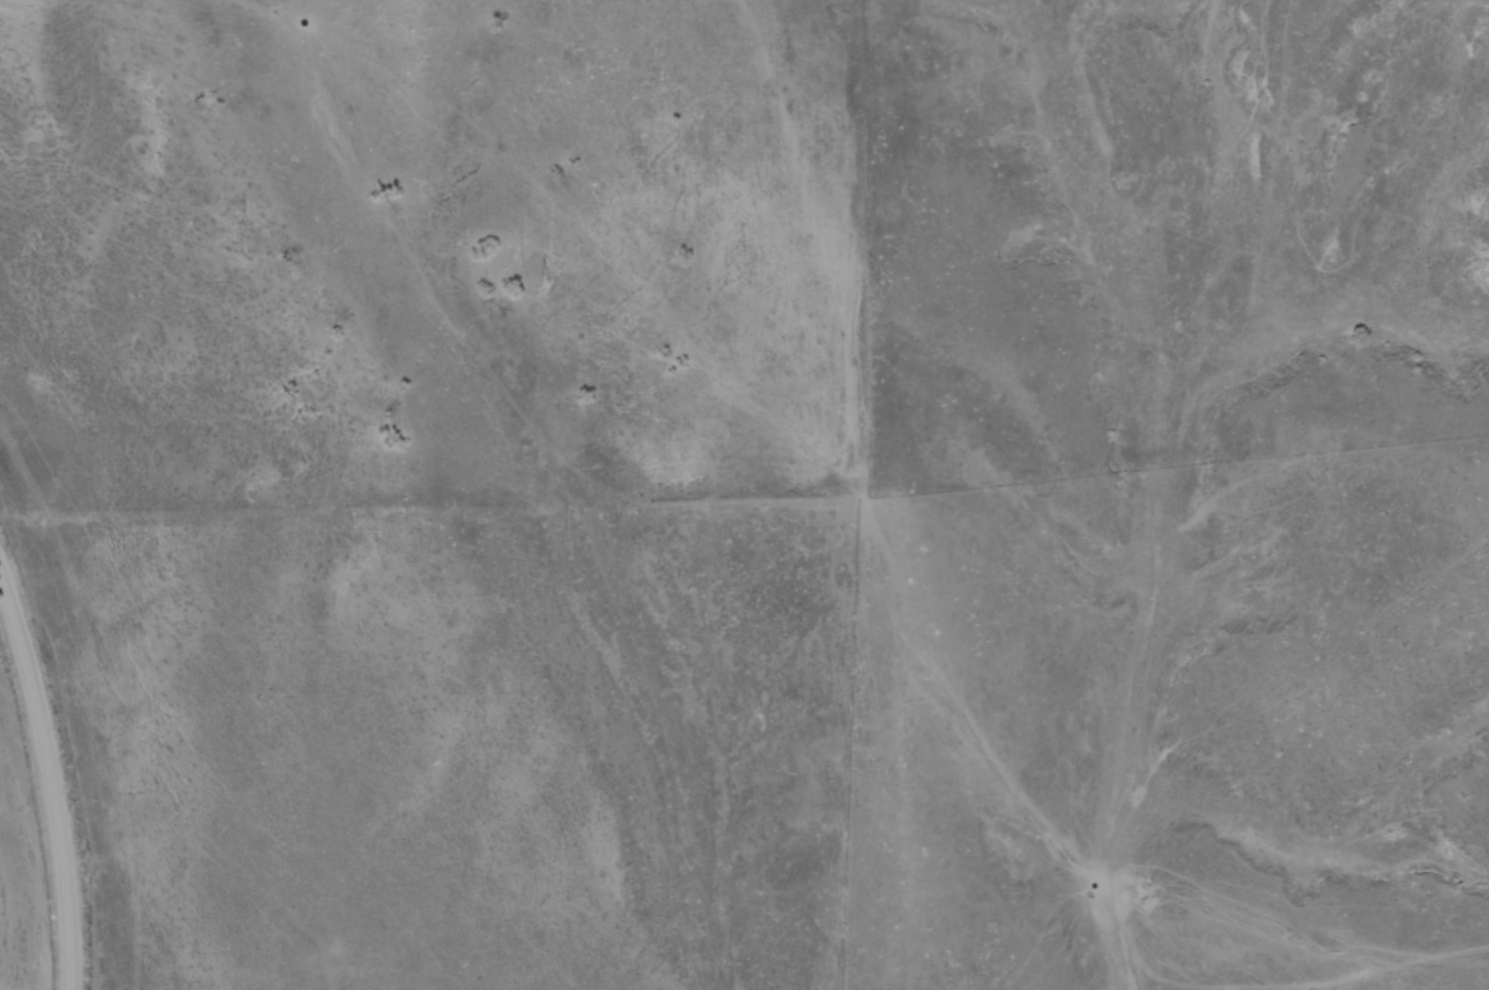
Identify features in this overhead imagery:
road: (52, 783)

